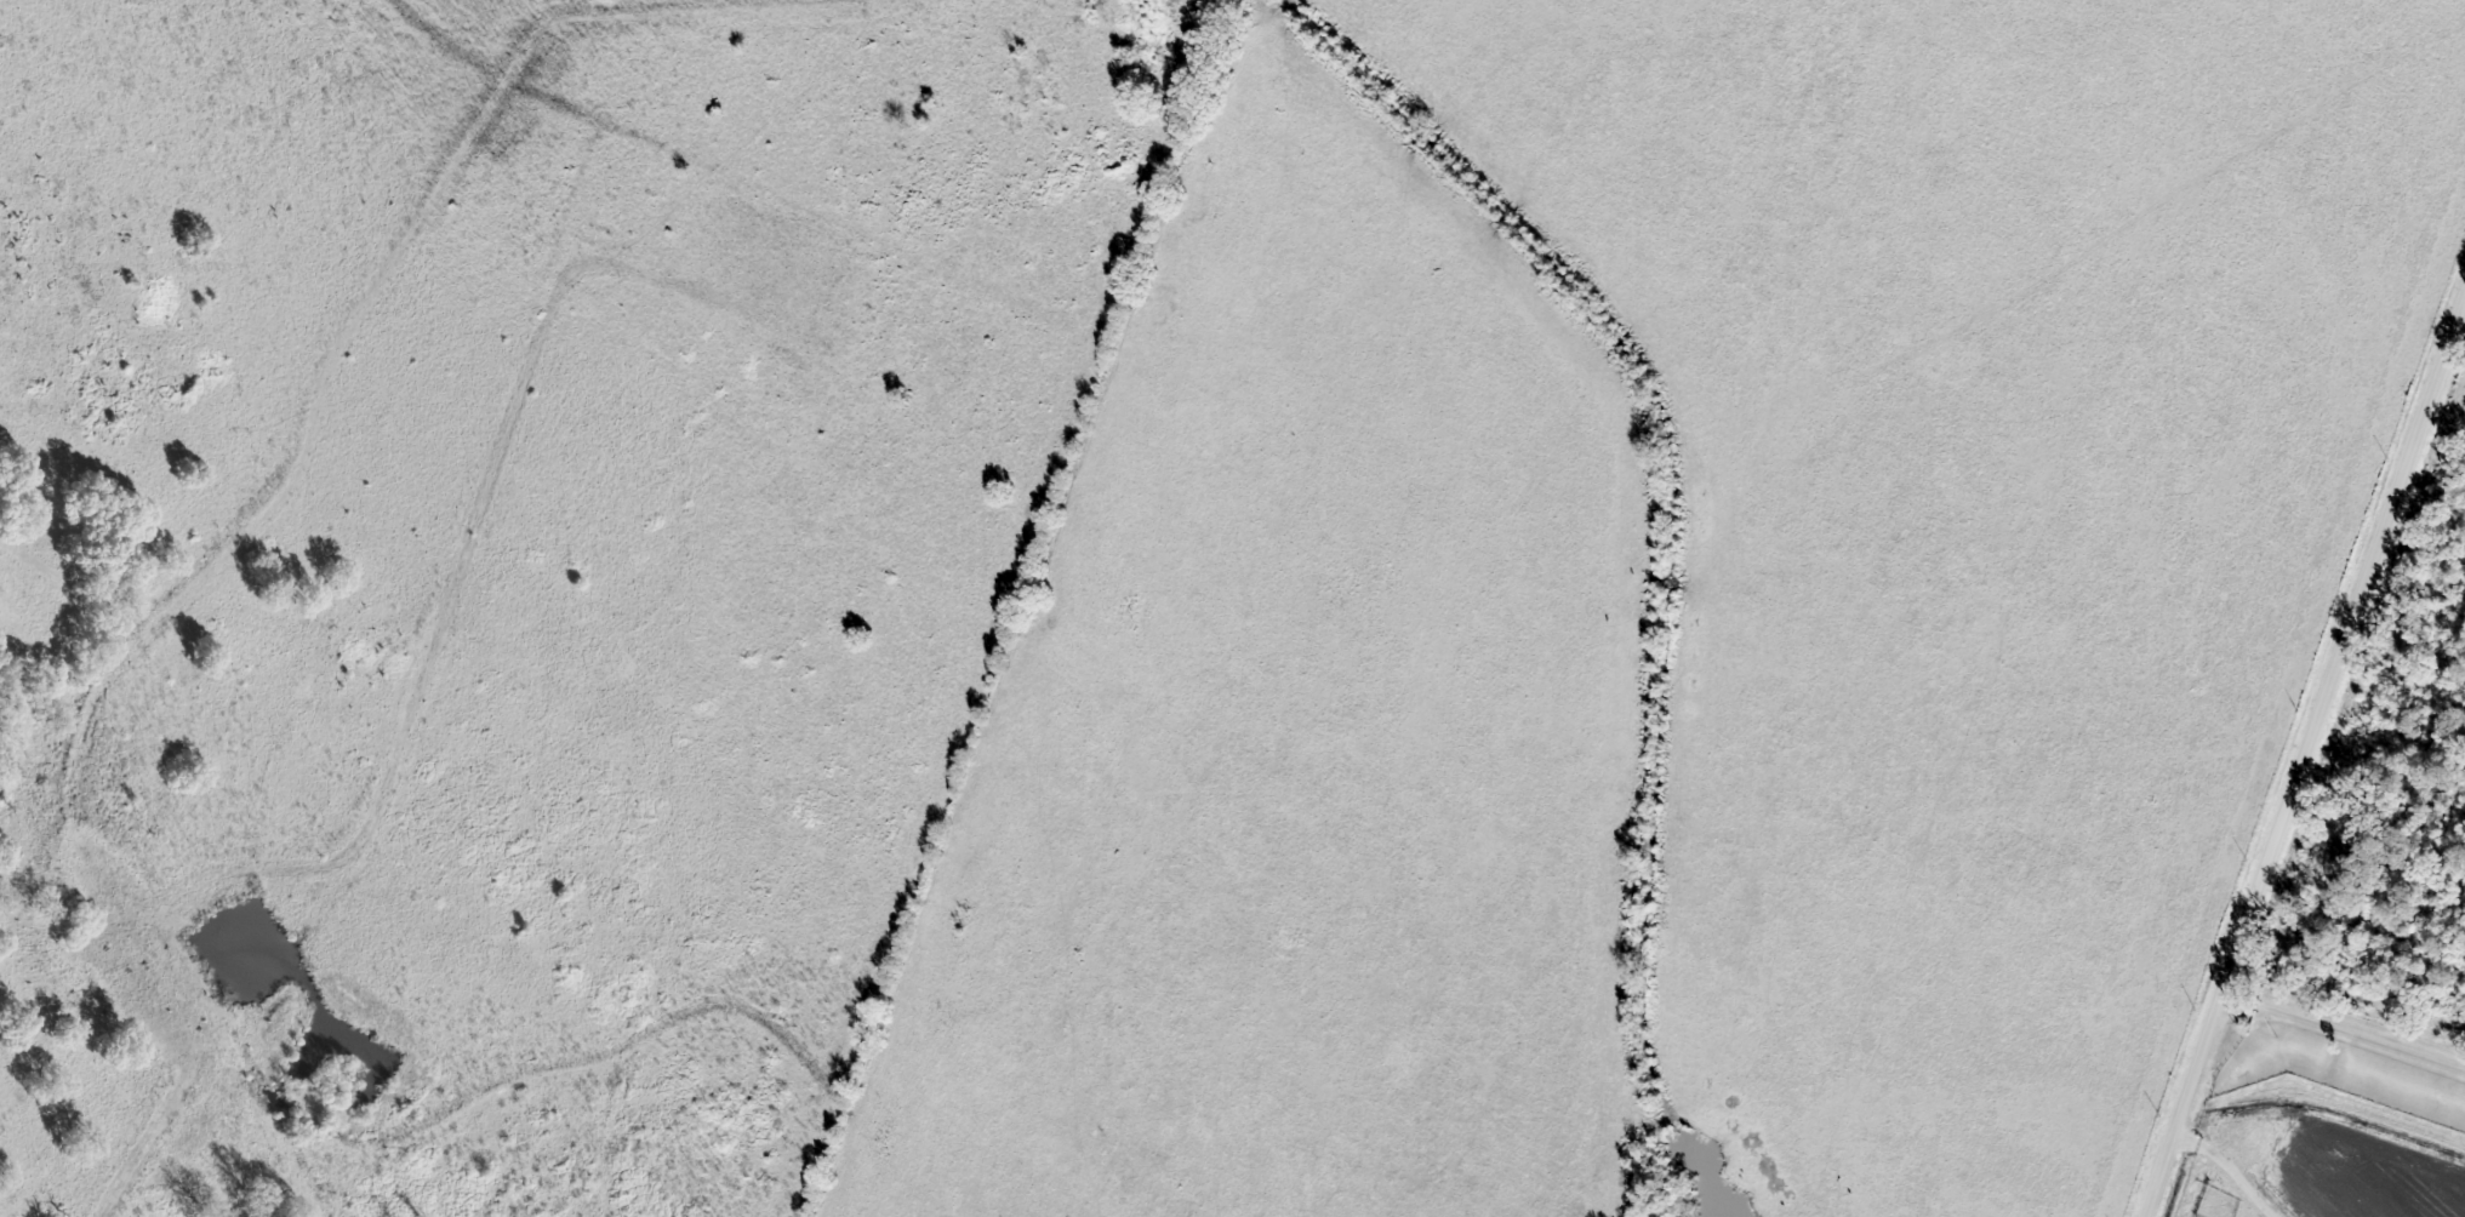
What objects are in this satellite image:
road: (2312, 779)
road: (2351, 1030)
road: (2230, 1176)

